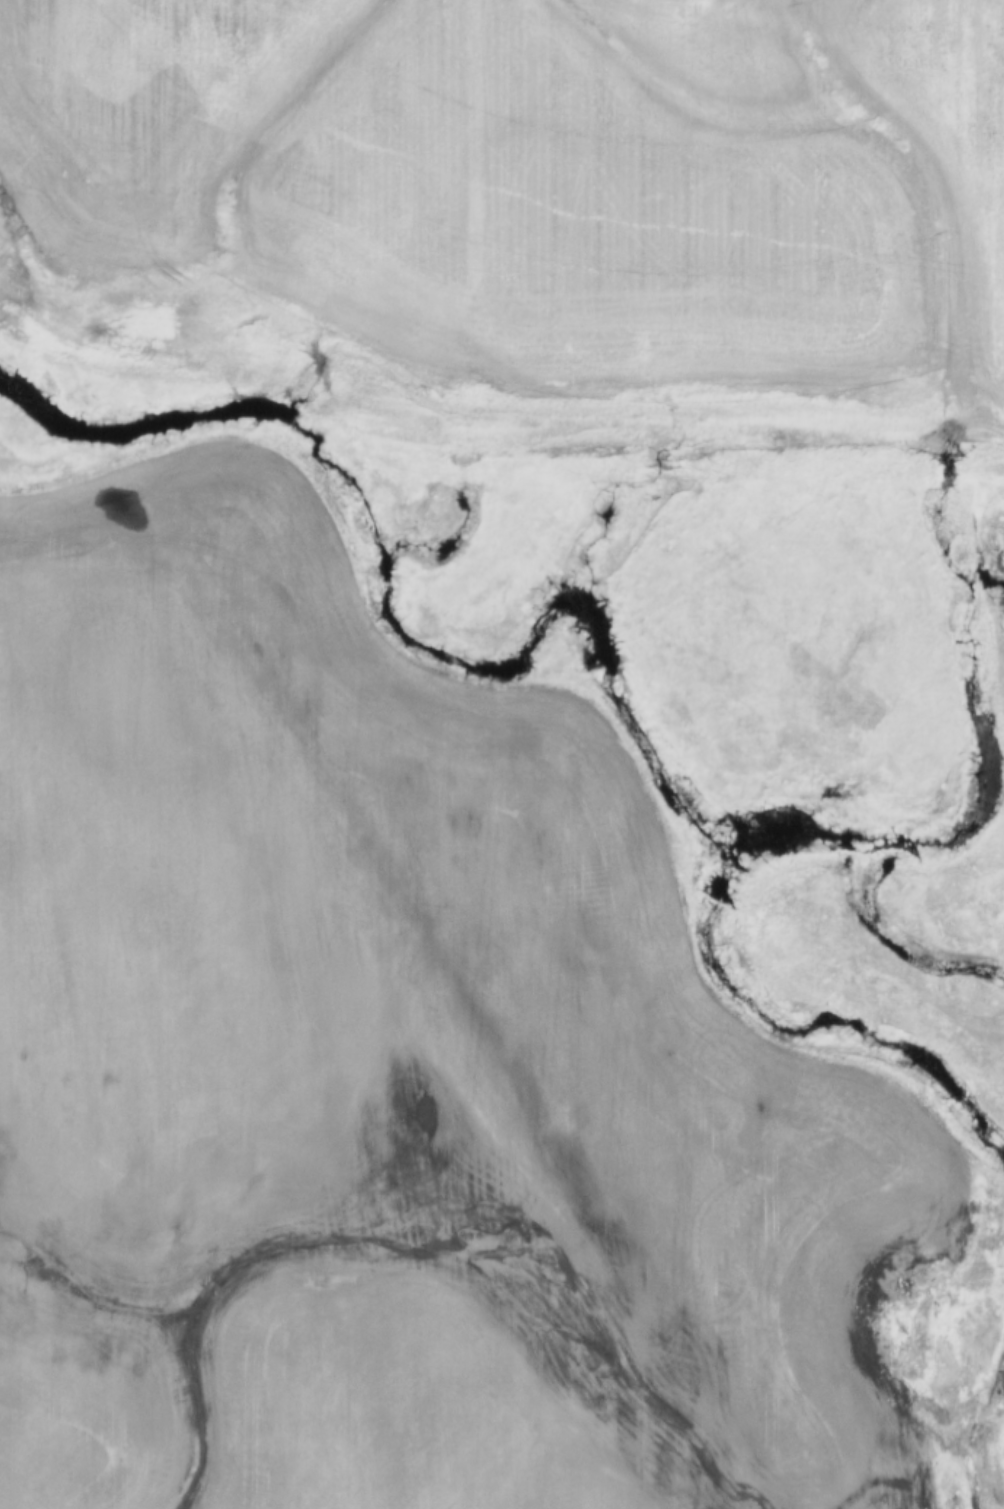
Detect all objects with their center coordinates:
road: (752, 18)
road: (973, 403)

